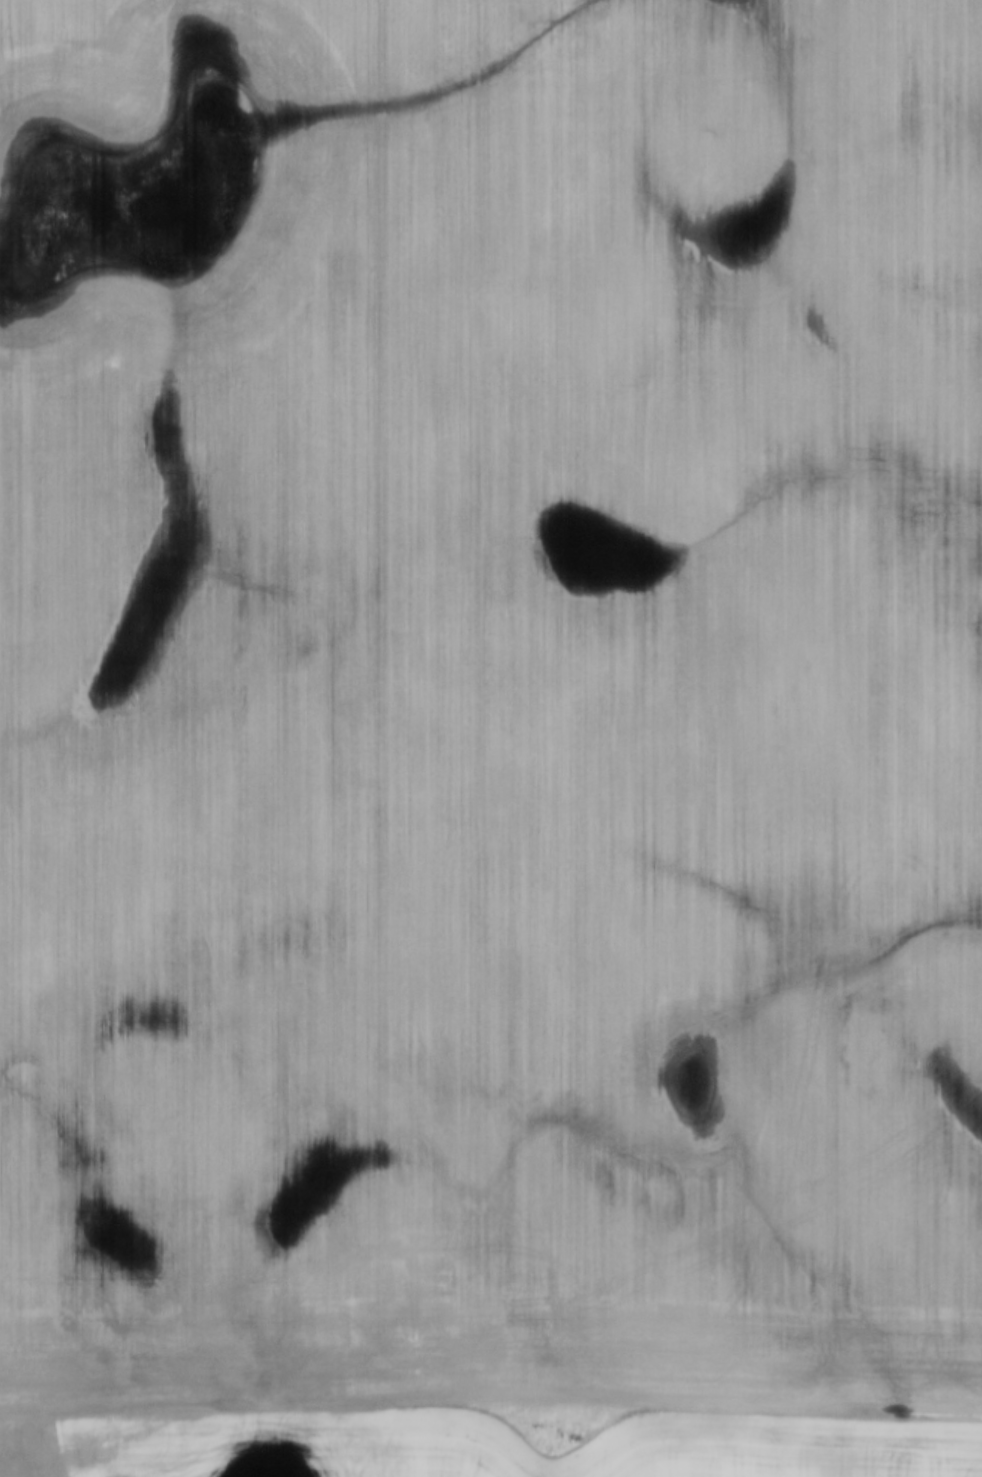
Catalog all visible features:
road: (491, 1394)

